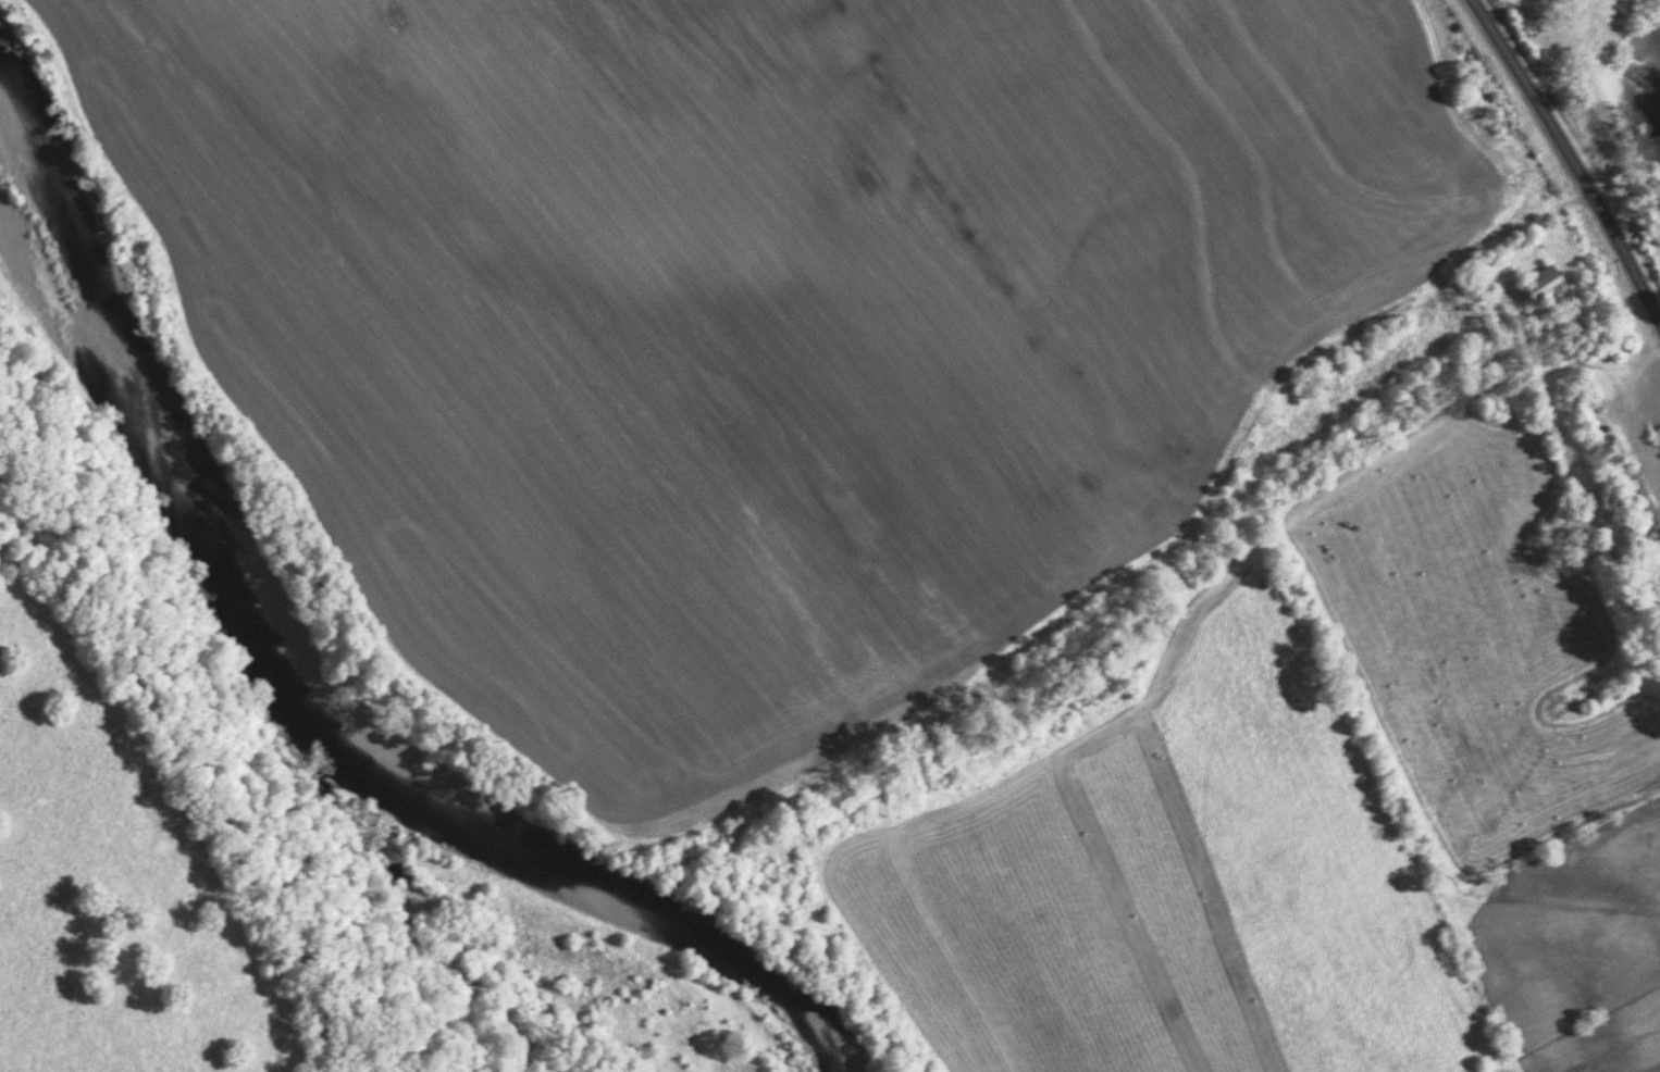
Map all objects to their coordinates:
road: (1573, 158)
building: (1548, 285)
building: (1609, 456)
building: (1632, 503)
building: (1659, 584)
river: (299, 706)

